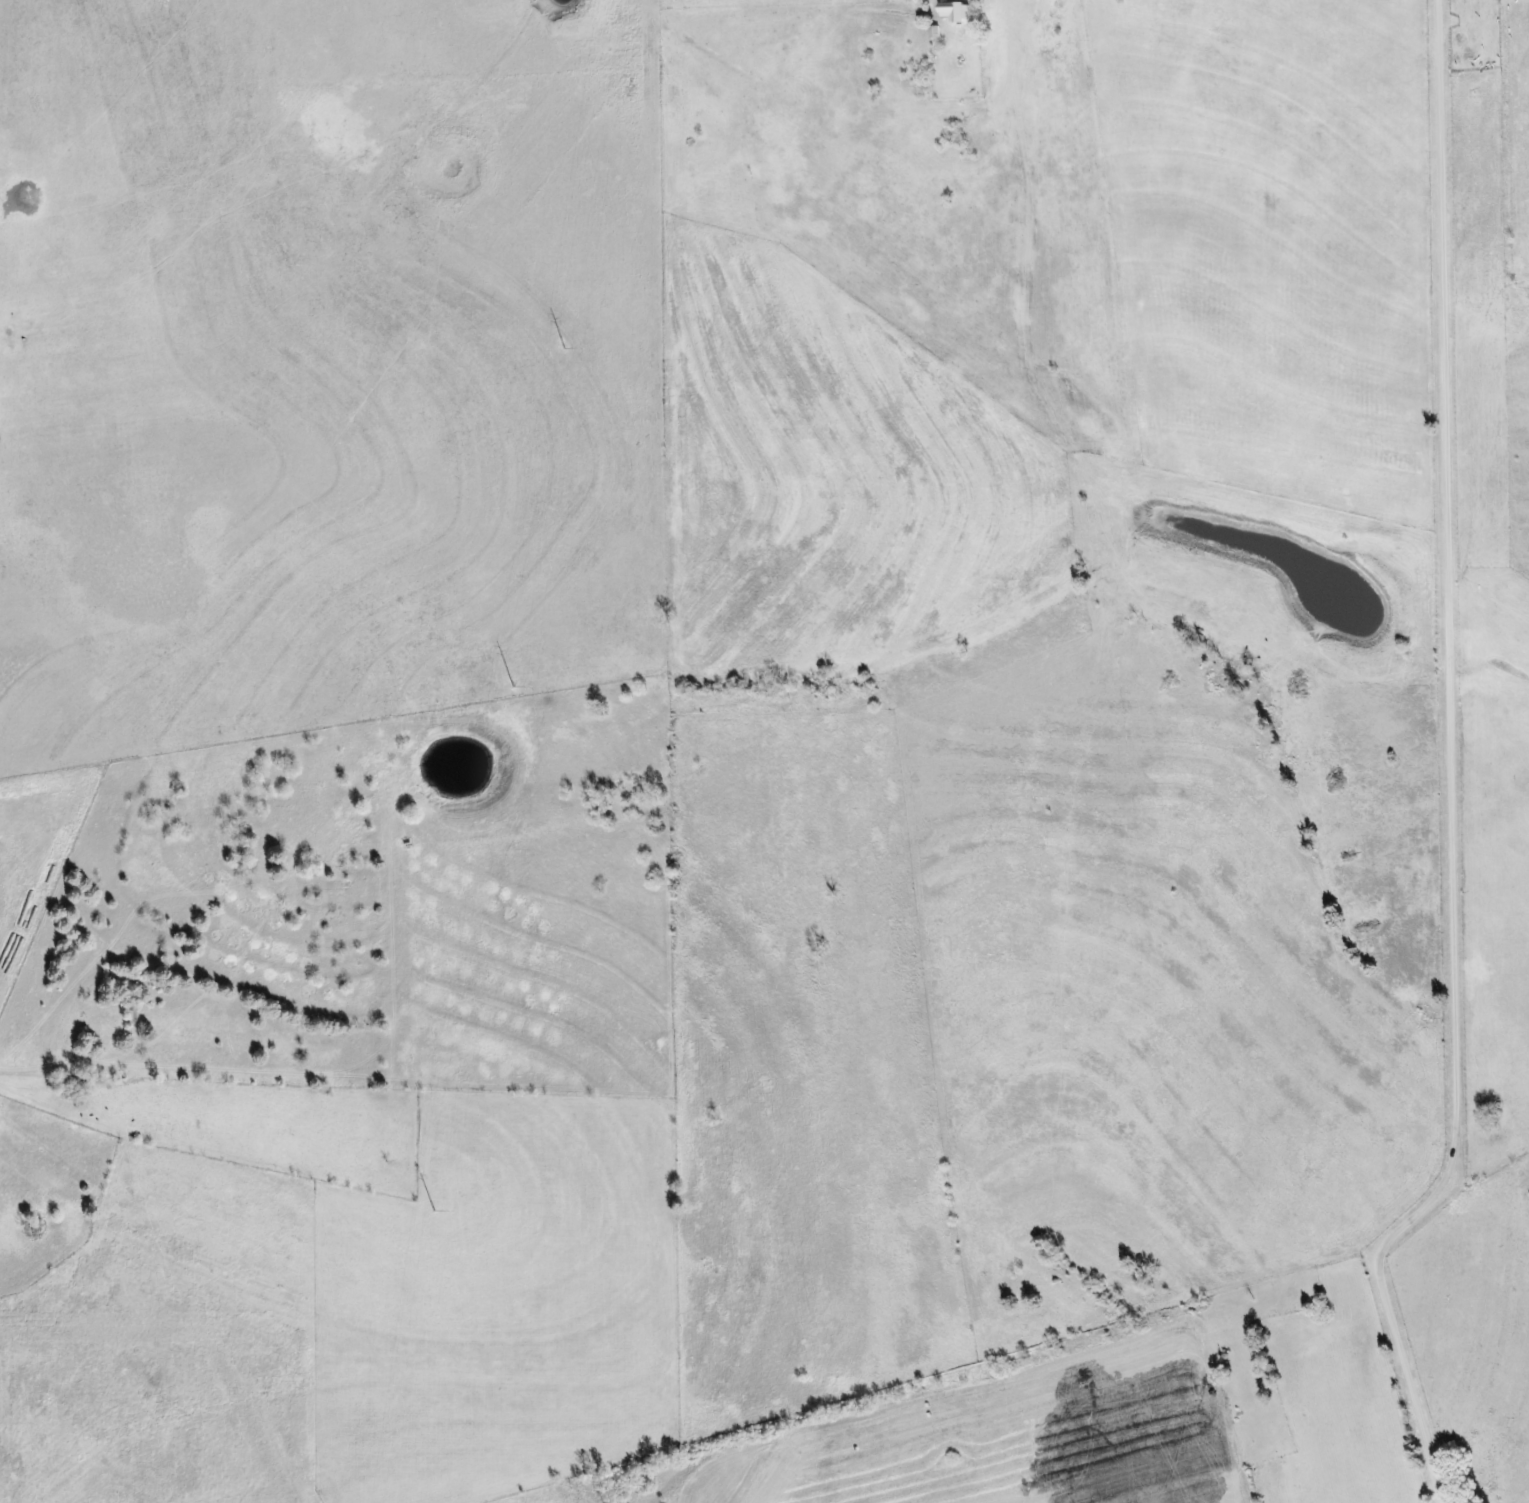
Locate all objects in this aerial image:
building: (954, 12)
power tower: (564, 349)
power tower: (513, 689)
road: (1455, 768)
power tower: (433, 1211)
park: (1251, 1368)

